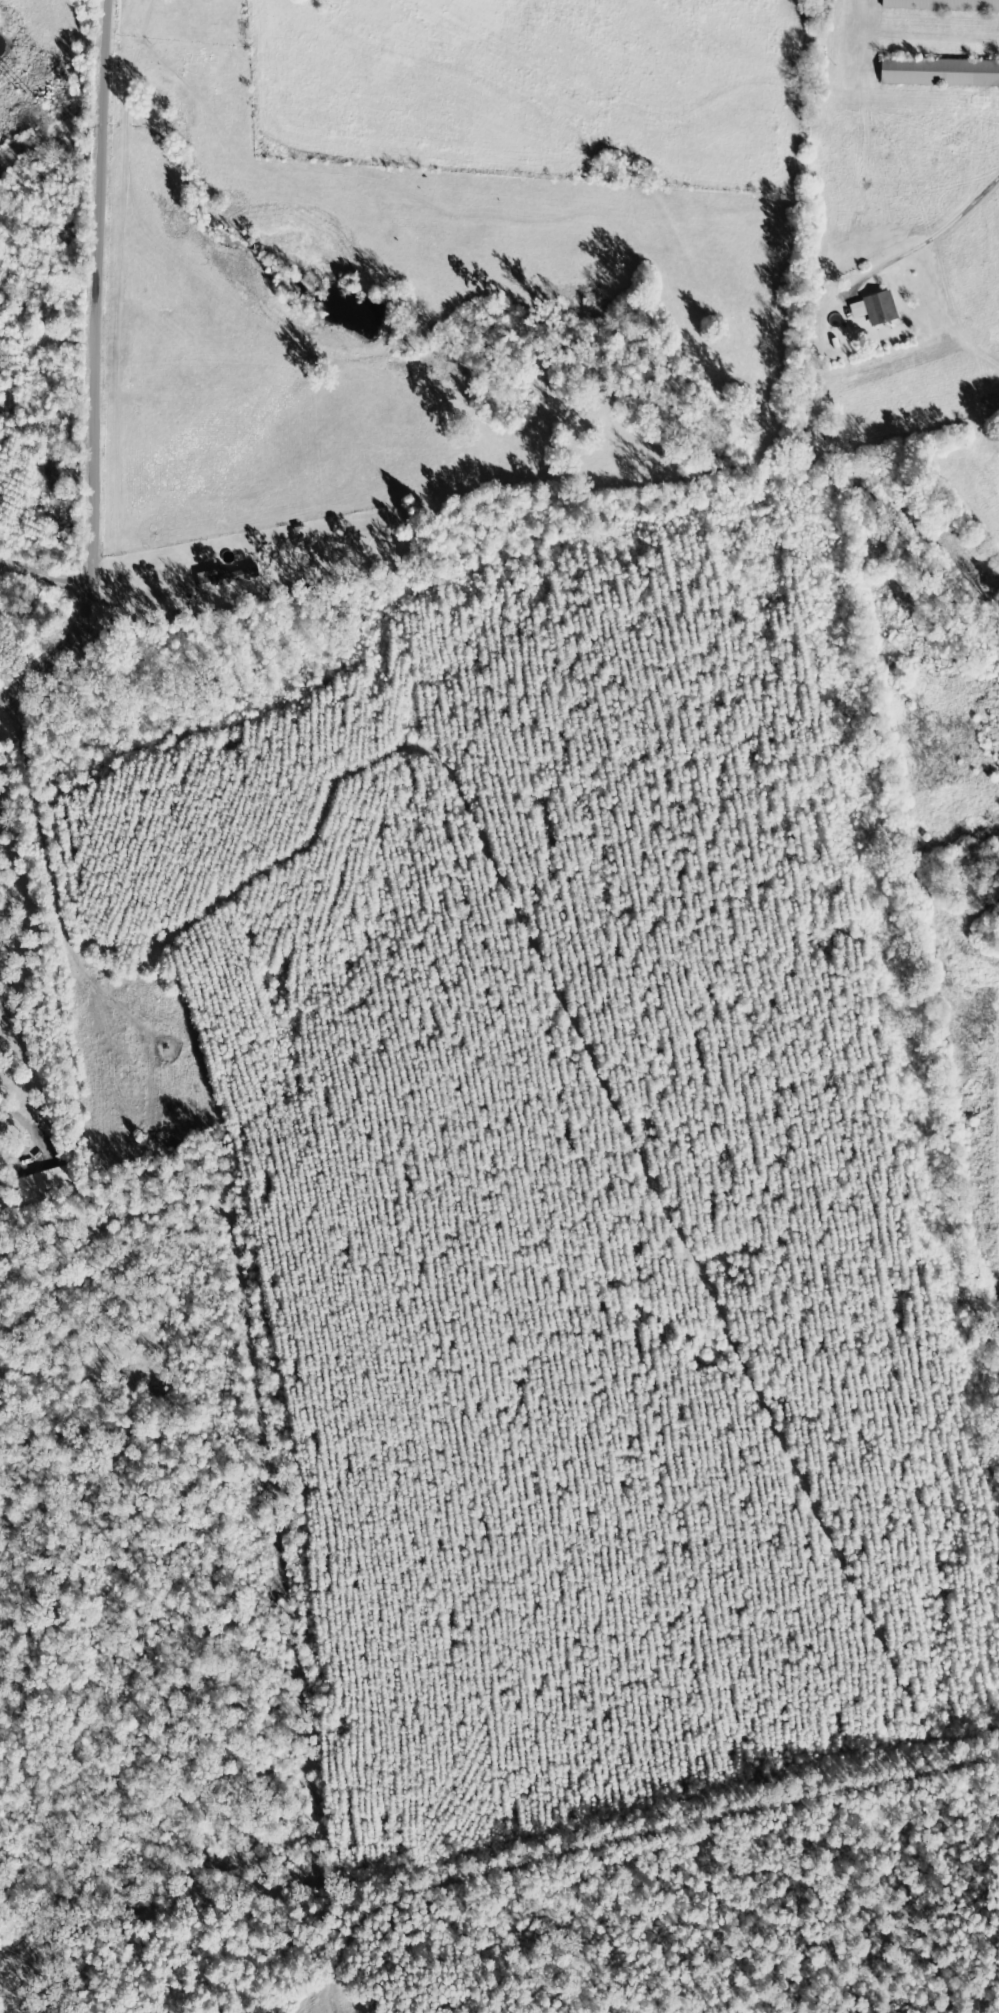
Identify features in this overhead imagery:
building: (945, 5)
building: (942, 73)
power tower: (15, 92)
building: (879, 309)
road: (72, 380)
building: (43, 1182)

